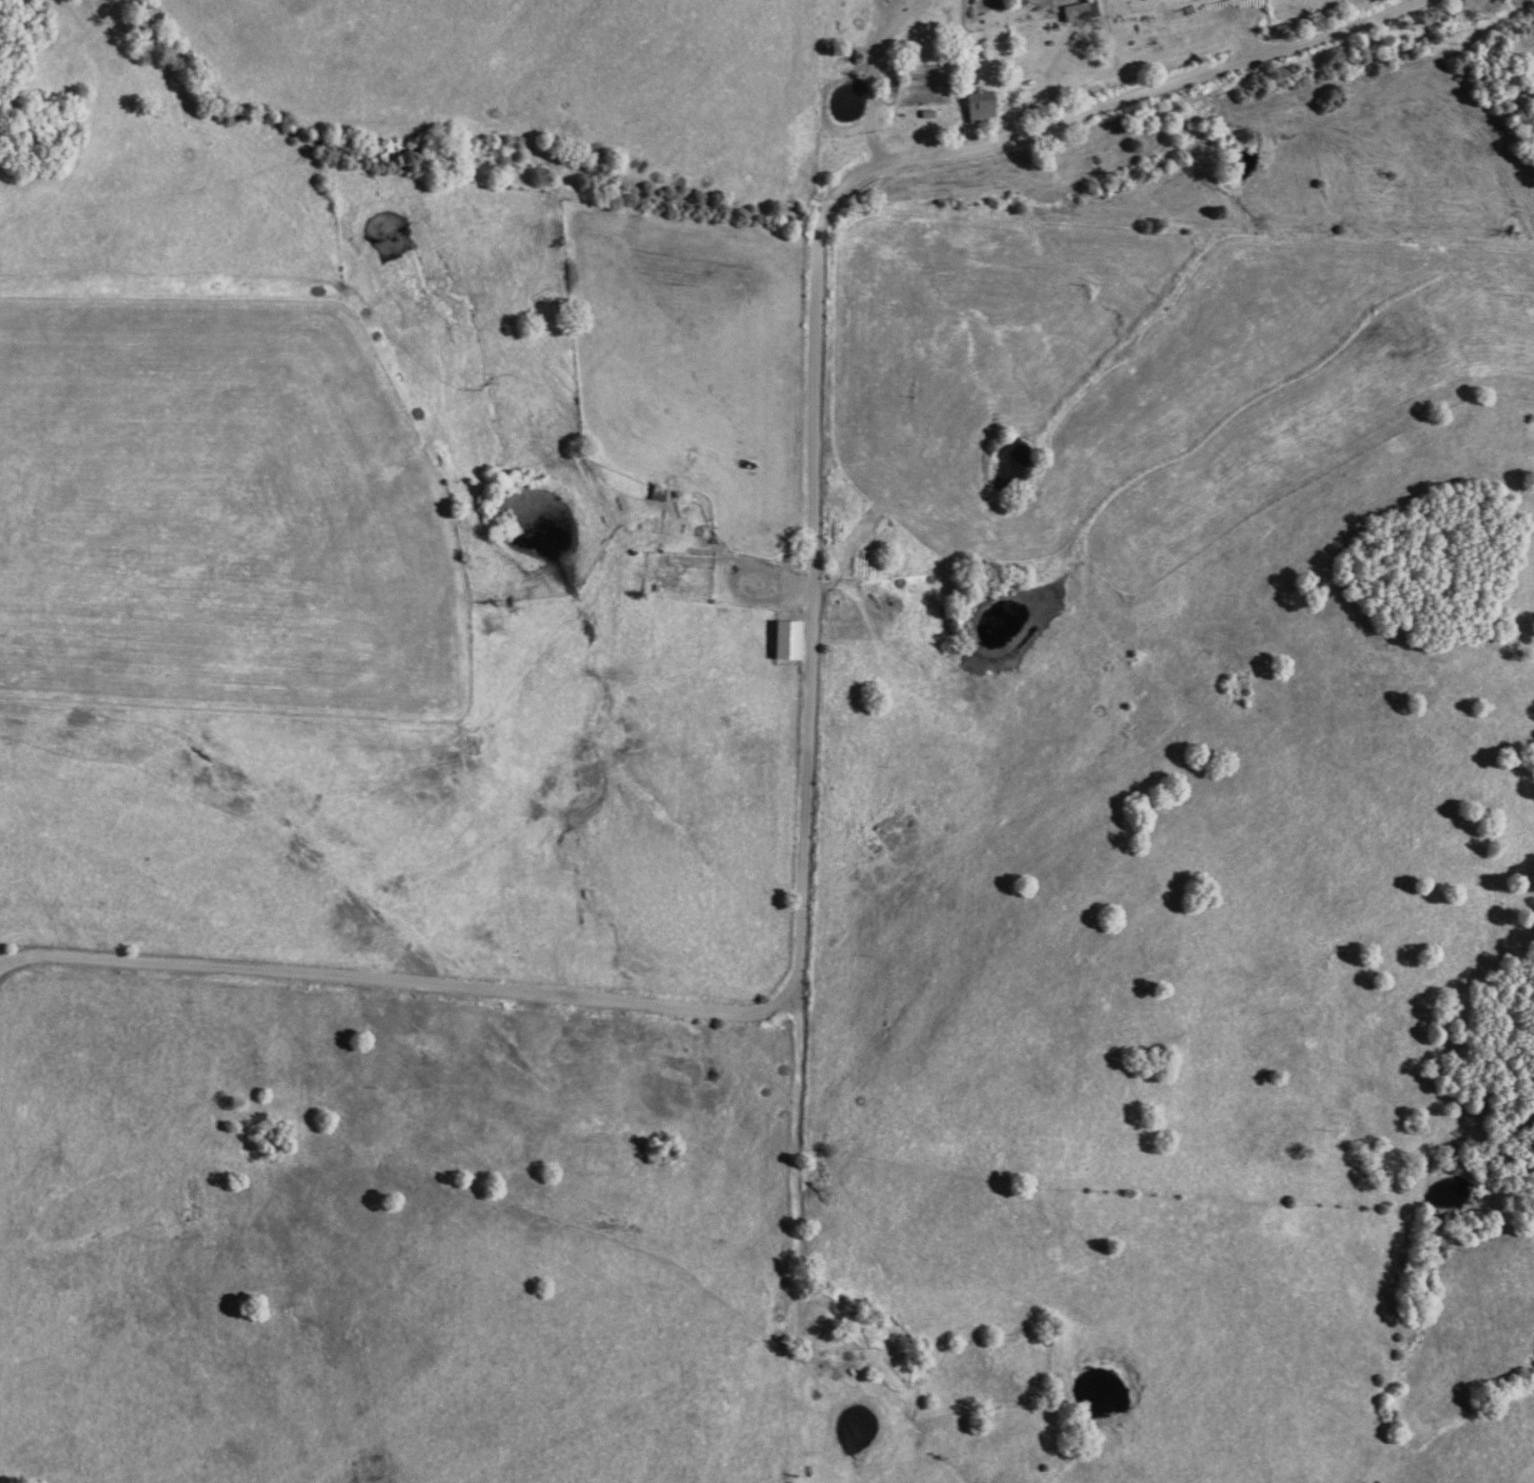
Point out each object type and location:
building: (1077, 11)
building: (977, 106)
building: (784, 639)
building: (765, 643)
road: (812, 684)
road: (797, 1152)

